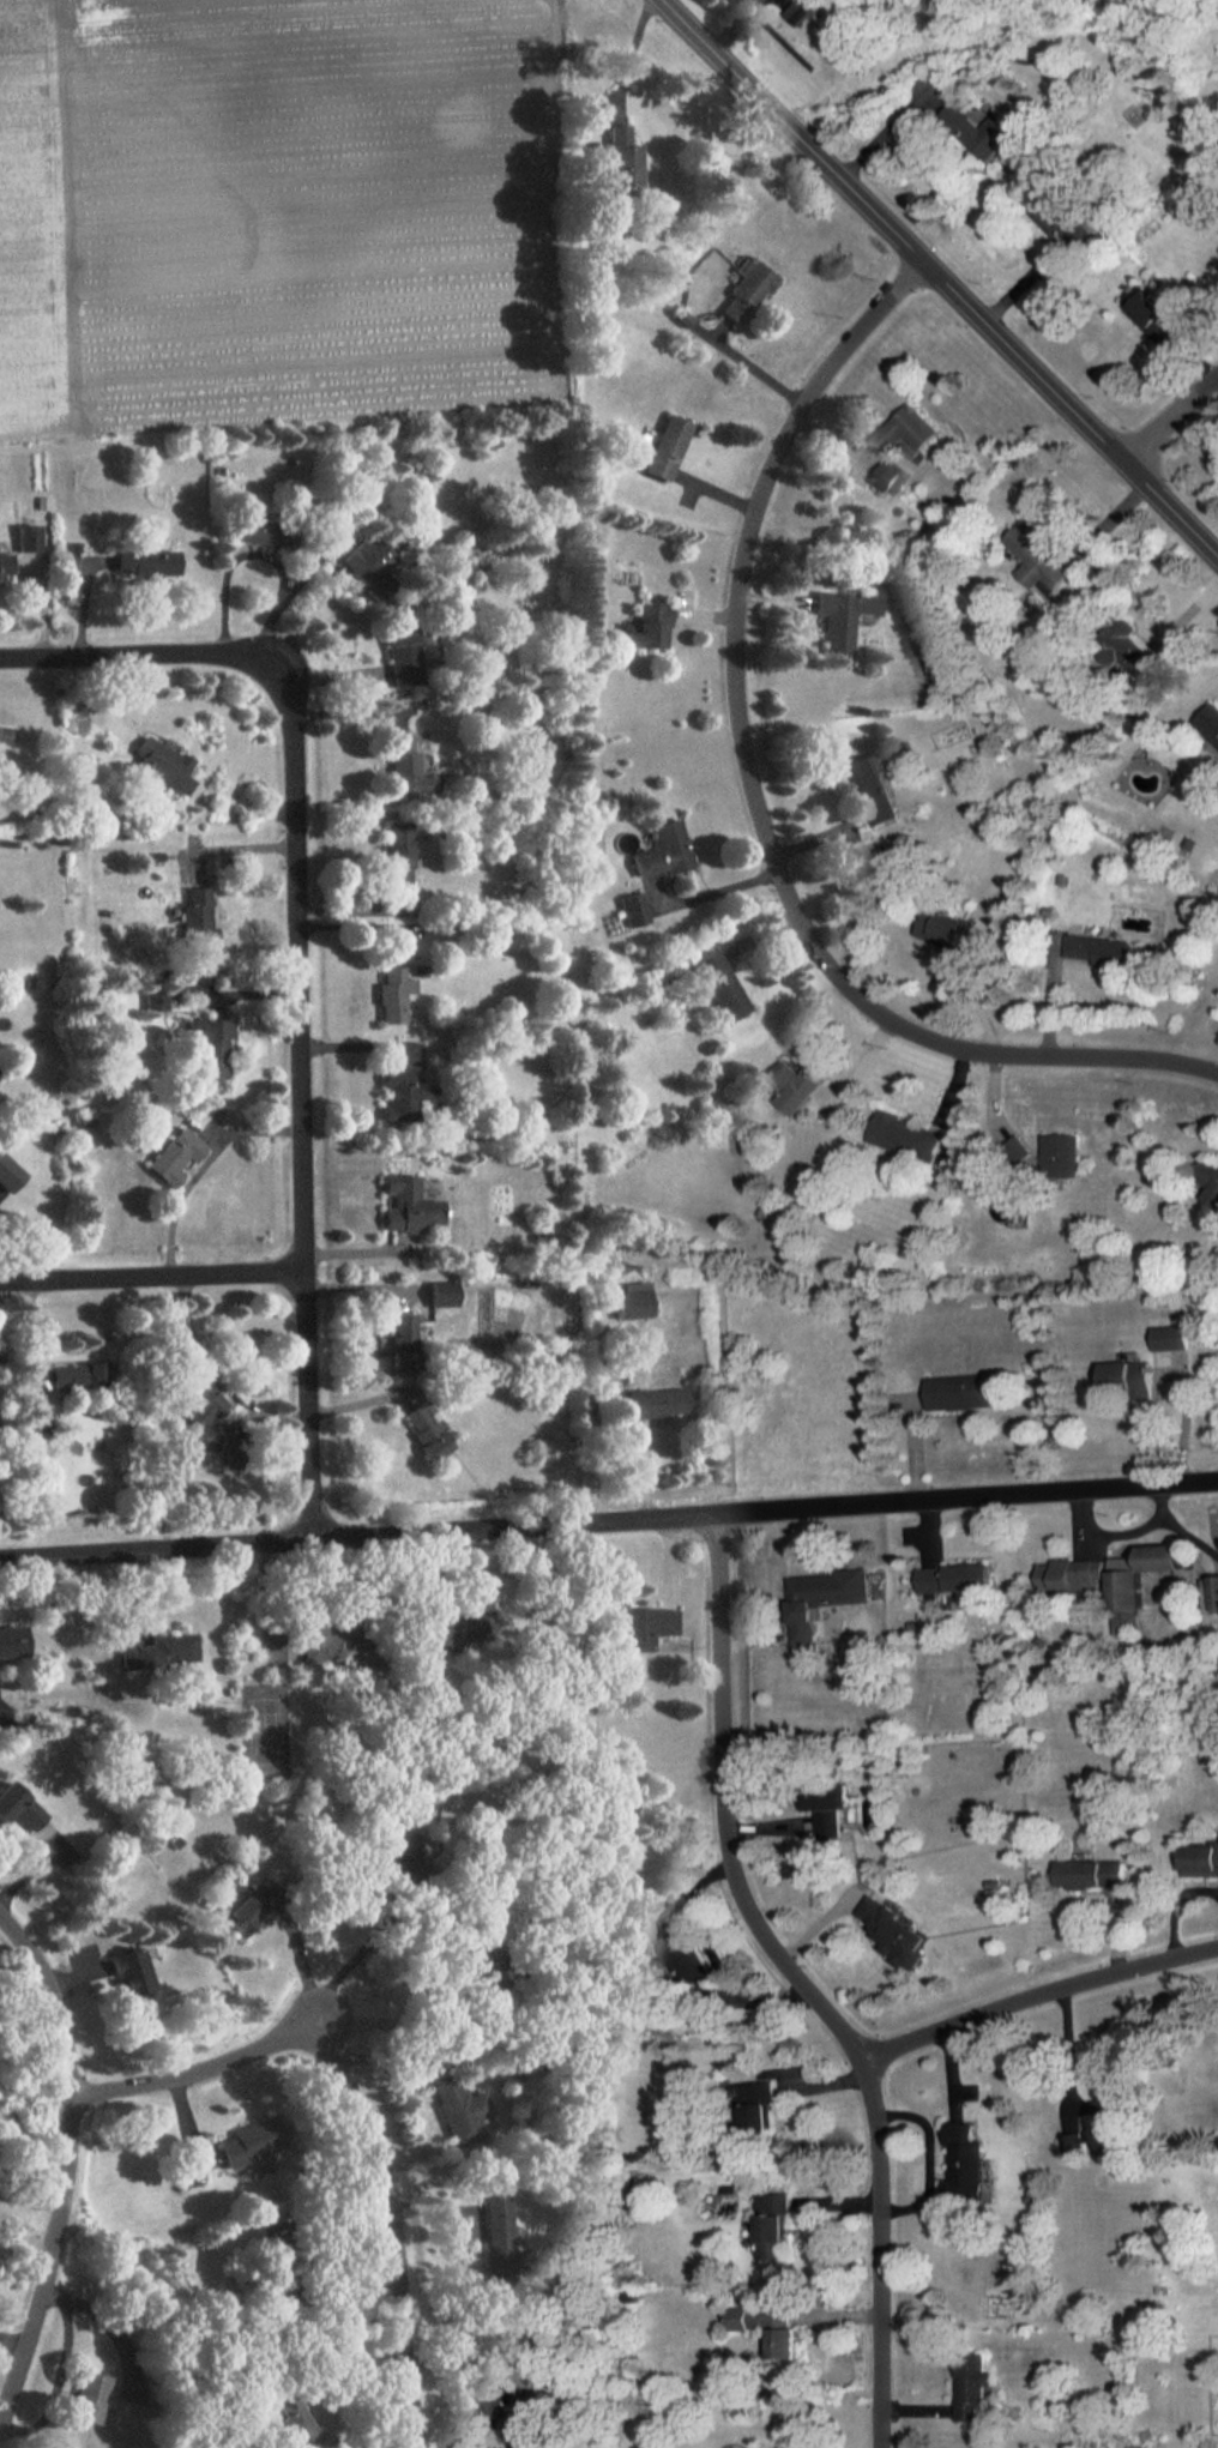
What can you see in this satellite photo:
road: (631, 54)
road: (887, 122)
building: (983, 134)
building: (625, 159)
crop: (318, 212)
building: (1060, 221)
crop: (26, 229)
road: (946, 275)
building: (746, 291)
building: (1154, 319)
road: (755, 361)
road: (1174, 420)
building: (905, 429)
building: (667, 446)
building: (891, 476)
building: (265, 530)
building: (26, 535)
road: (260, 549)
building: (1037, 556)
building: (145, 560)
building: (4, 561)
building: (368, 565)
building: (844, 616)
building: (647, 626)
building: (403, 653)
building: (1140, 662)
building: (1210, 719)
building: (158, 765)
building: (410, 772)
building: (873, 790)
road: (761, 794)
building: (663, 850)
building: (398, 852)
building: (633, 909)
building: (197, 914)
building: (940, 927)
building: (1105, 952)
road: (301, 957)
building: (722, 984)
building: (393, 994)
building: (209, 1048)
building: (792, 1086)
building: (402, 1093)
building: (904, 1130)
building: (1014, 1144)
building: (174, 1154)
building: (10, 1174)
building: (1205, 1181)
building: (408, 1205)
road: (155, 1274)
building: (444, 1290)
building: (634, 1298)
building: (1171, 1333)
building: (404, 1341)
building: (78, 1375)
road: (216, 1376)
building: (1126, 1376)
building: (960, 1392)
building: (197, 1394)
building: (658, 1403)
building: (37, 1422)
building: (427, 1427)
road: (609, 1519)
road: (1126, 1527)
road: (1190, 1529)
building: (1139, 1570)
building: (1072, 1574)
building: (955, 1580)
building: (821, 1597)
building: (649, 1626)
building: (12, 1634)
building: (321, 1645)
building: (159, 1651)
park: (260, 1729)
building: (10, 1799)
building: (827, 1808)
building: (1201, 1859)
building: (1090, 1874)
building: (252, 1906)
building: (892, 1929)
road: (360, 1955)
building: (131, 1976)
road: (807, 1980)
road: (1041, 1995)
road: (392, 2014)
road: (1063, 2067)
road: (360, 2100)
building: (458, 2110)
building: (249, 2142)
building: (1096, 2142)
road: (929, 2161)
building: (967, 2164)
road: (70, 2170)
road: (28, 2224)
building: (772, 2226)
building: (496, 2244)
road: (60, 2372)
building: (973, 2388)
building: (90, 2398)
building: (295, 2422)

